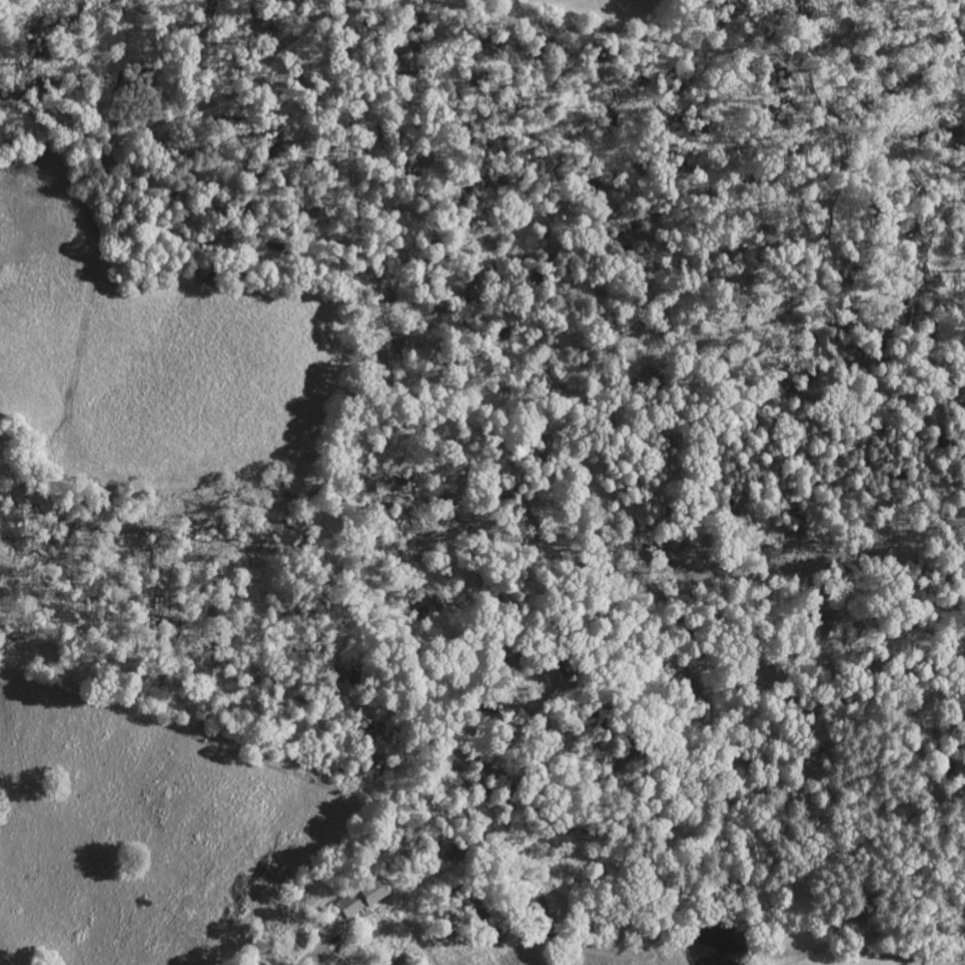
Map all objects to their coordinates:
building: (359, 899)
road: (335, 923)

